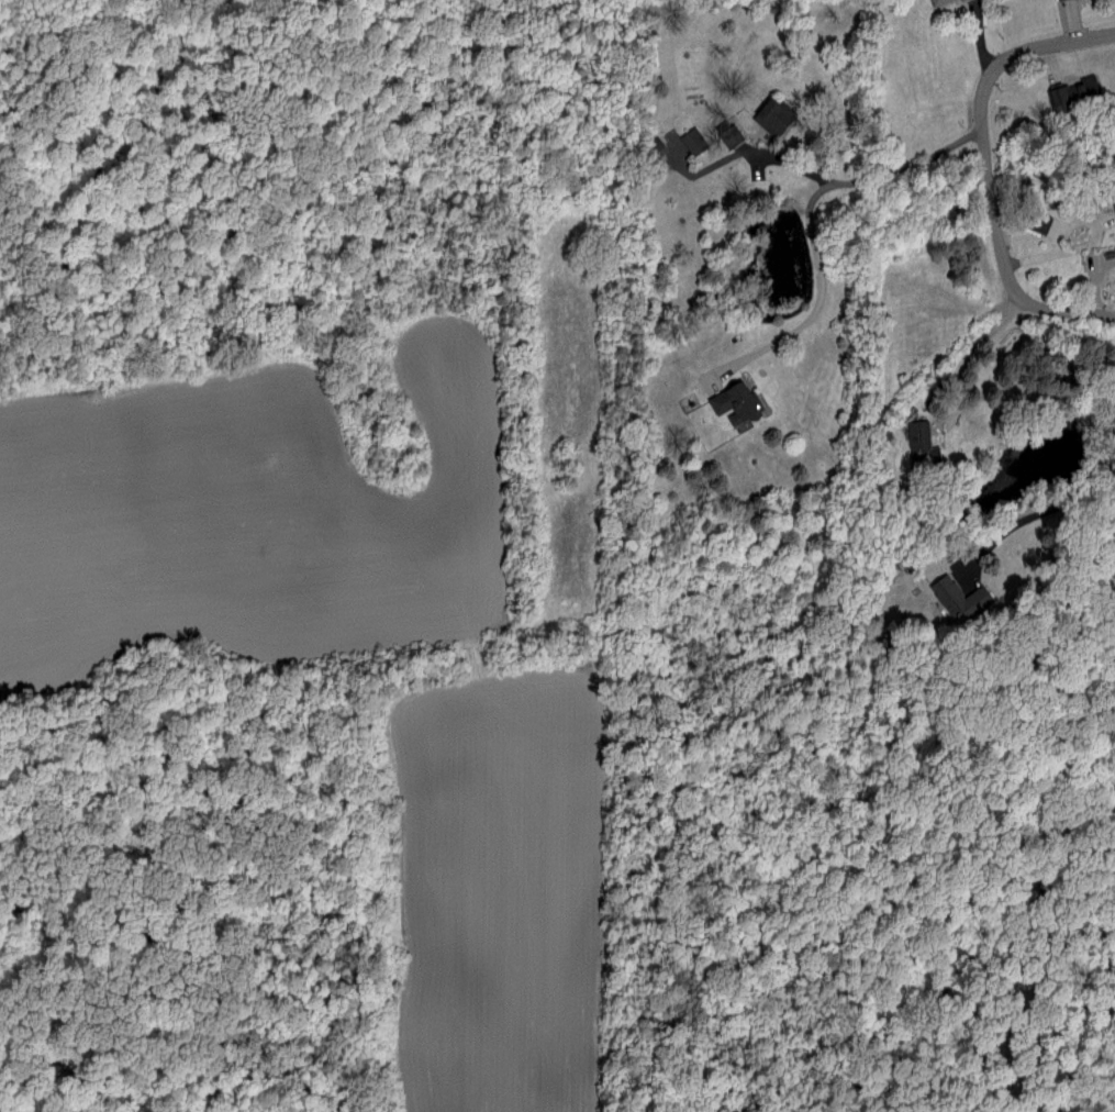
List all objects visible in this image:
building: (959, 0)
building: (1056, 0)
building: (934, 1)
building: (1071, 91)
building: (770, 115)
building: (728, 131)
building: (690, 140)
road: (986, 173)
road: (854, 184)
road: (1056, 220)
building: (1037, 221)
road: (974, 308)
road: (816, 310)
road: (972, 358)
building: (732, 402)
building: (919, 444)
road: (1035, 519)
building: (958, 597)

